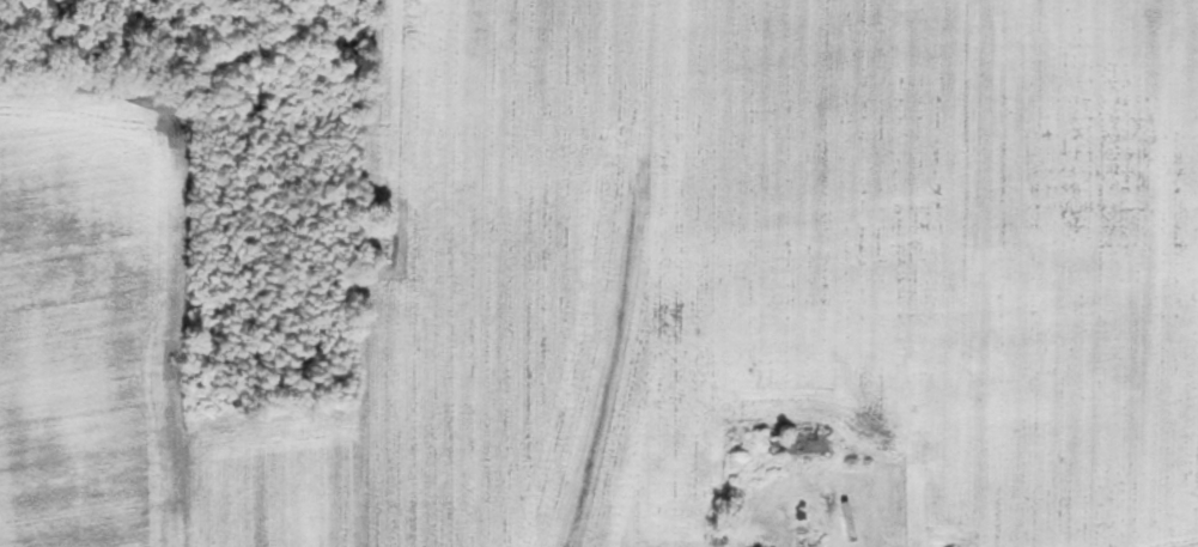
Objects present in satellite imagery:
building: (799, 446)
building: (877, 543)

